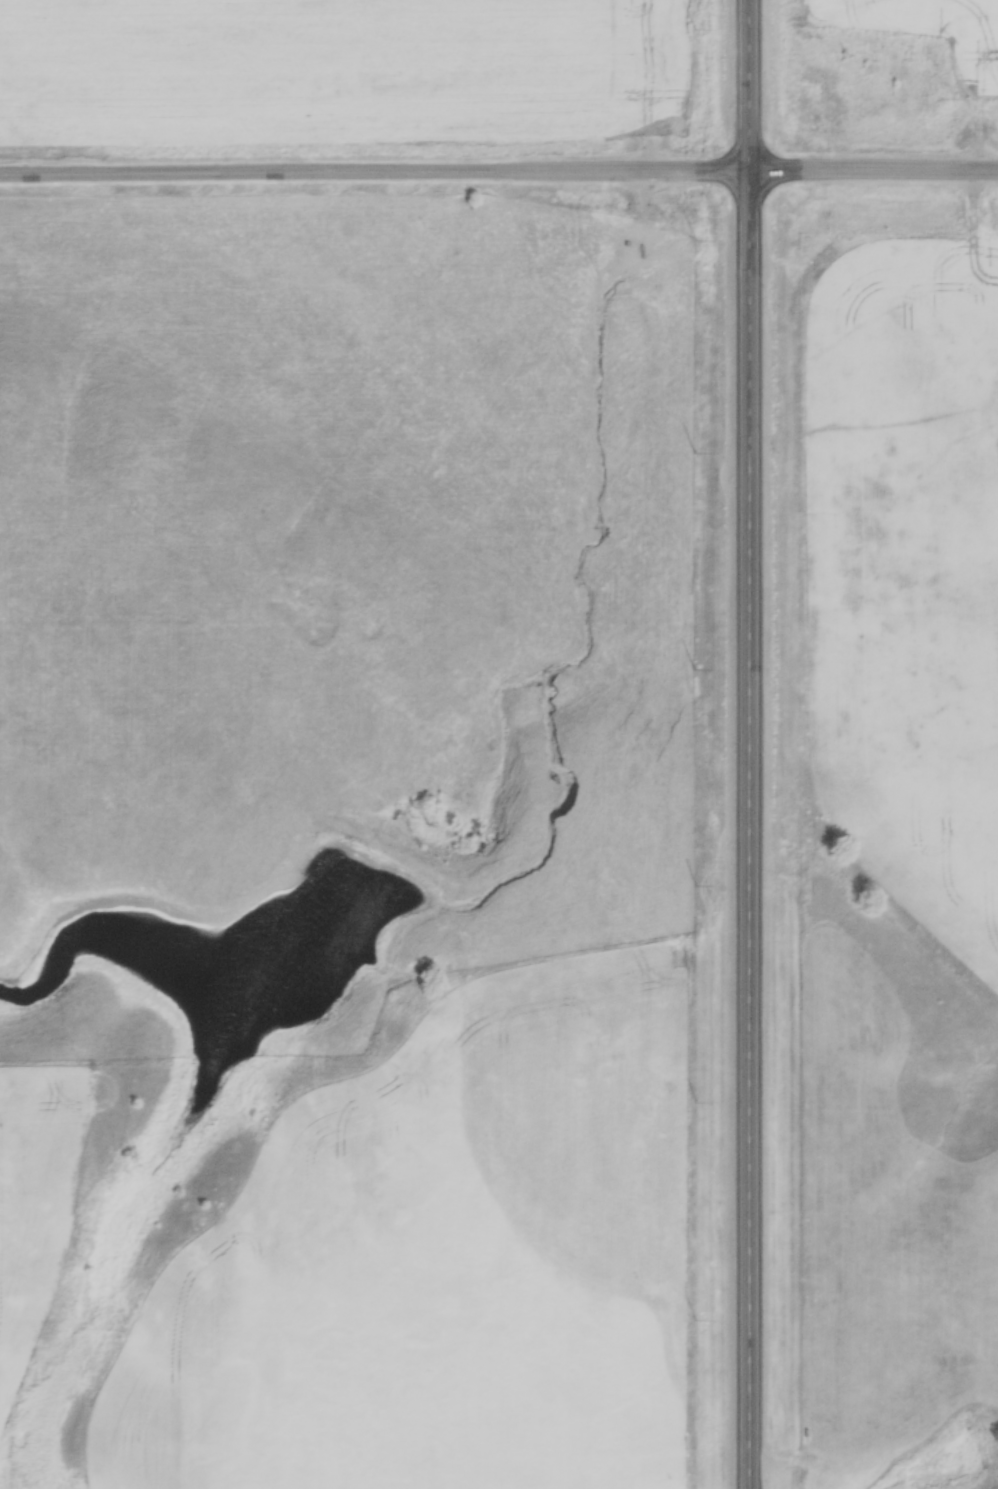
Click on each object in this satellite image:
road: (498, 172)
road: (750, 744)

